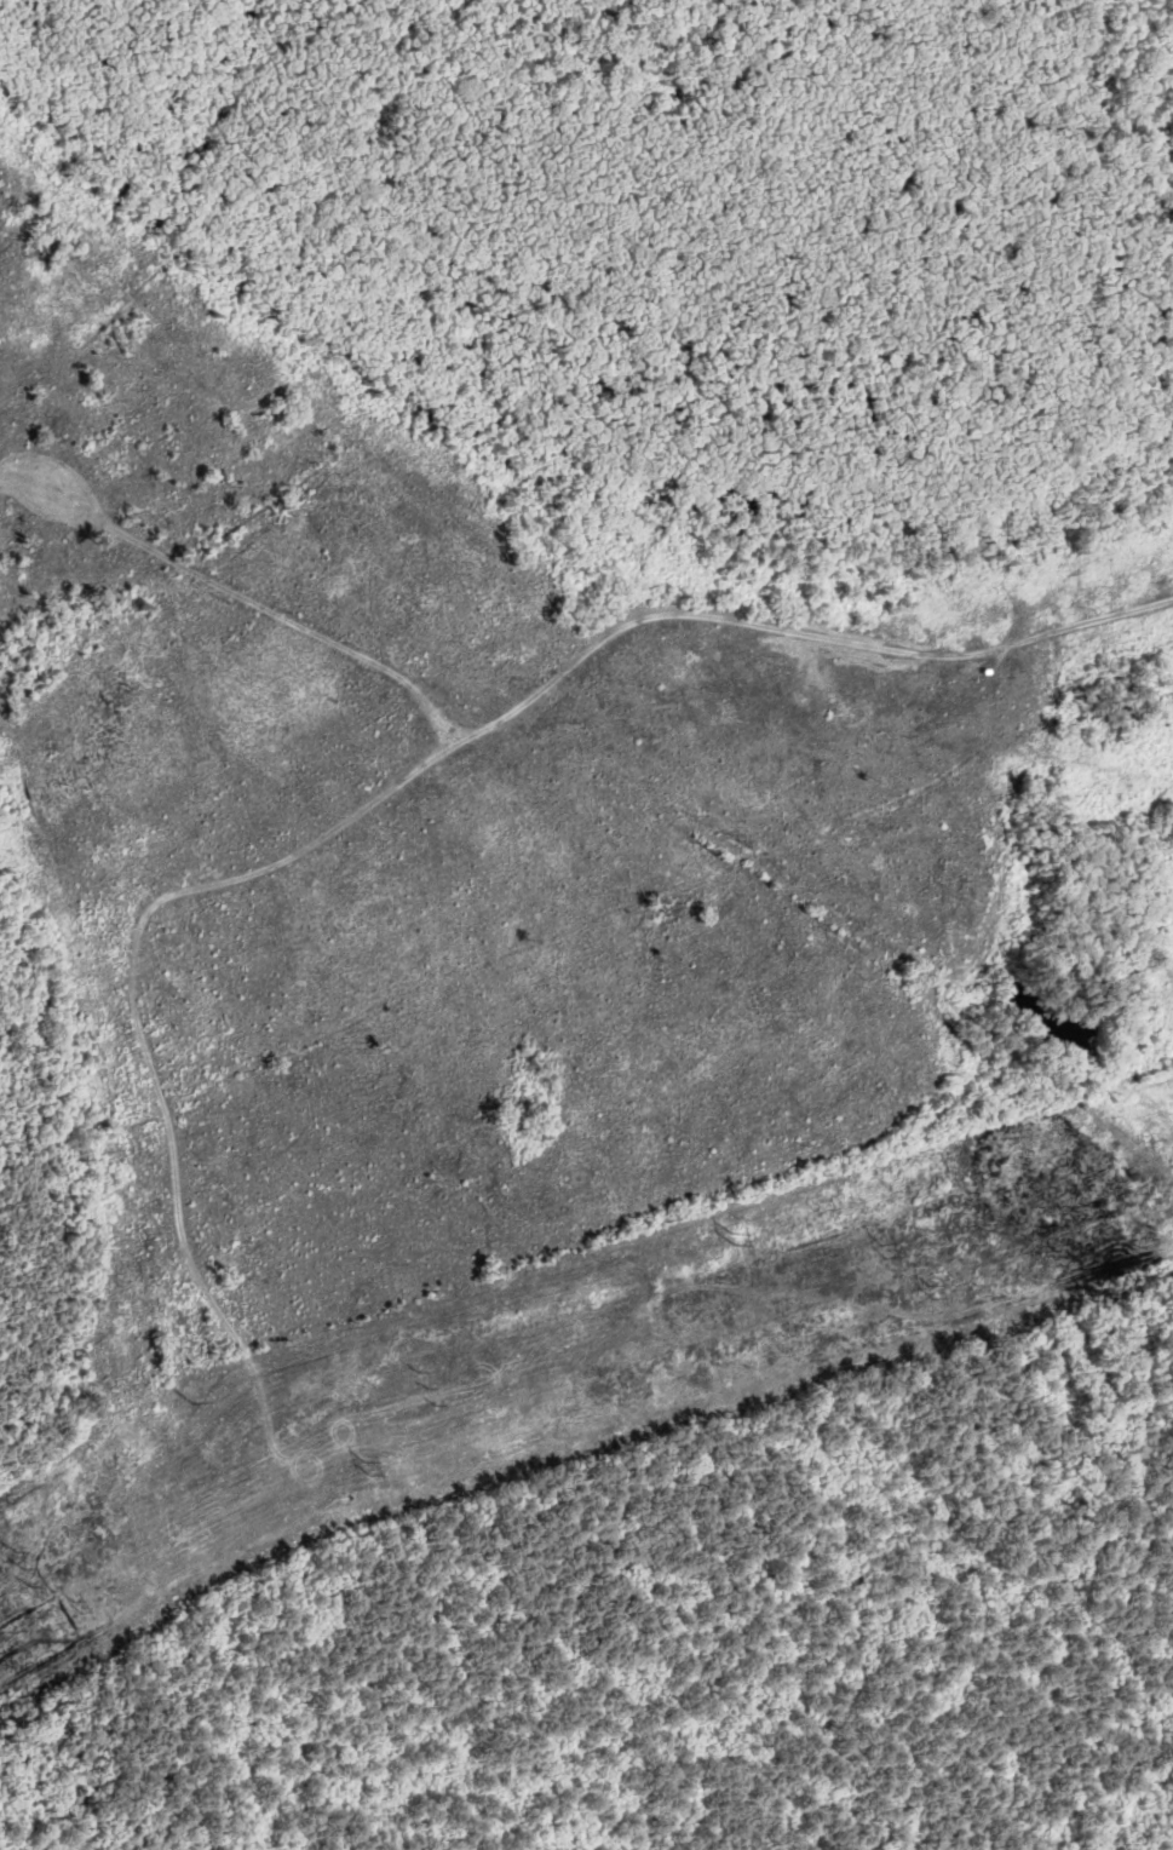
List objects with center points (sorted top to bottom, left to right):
power tower: (736, 1239)
power tower: (882, 1251)
power tower: (933, 1295)
power tower: (430, 1390)
power tower: (194, 1402)
power tower: (370, 1473)
power tower: (24, 1567)
power tower: (82, 1610)

